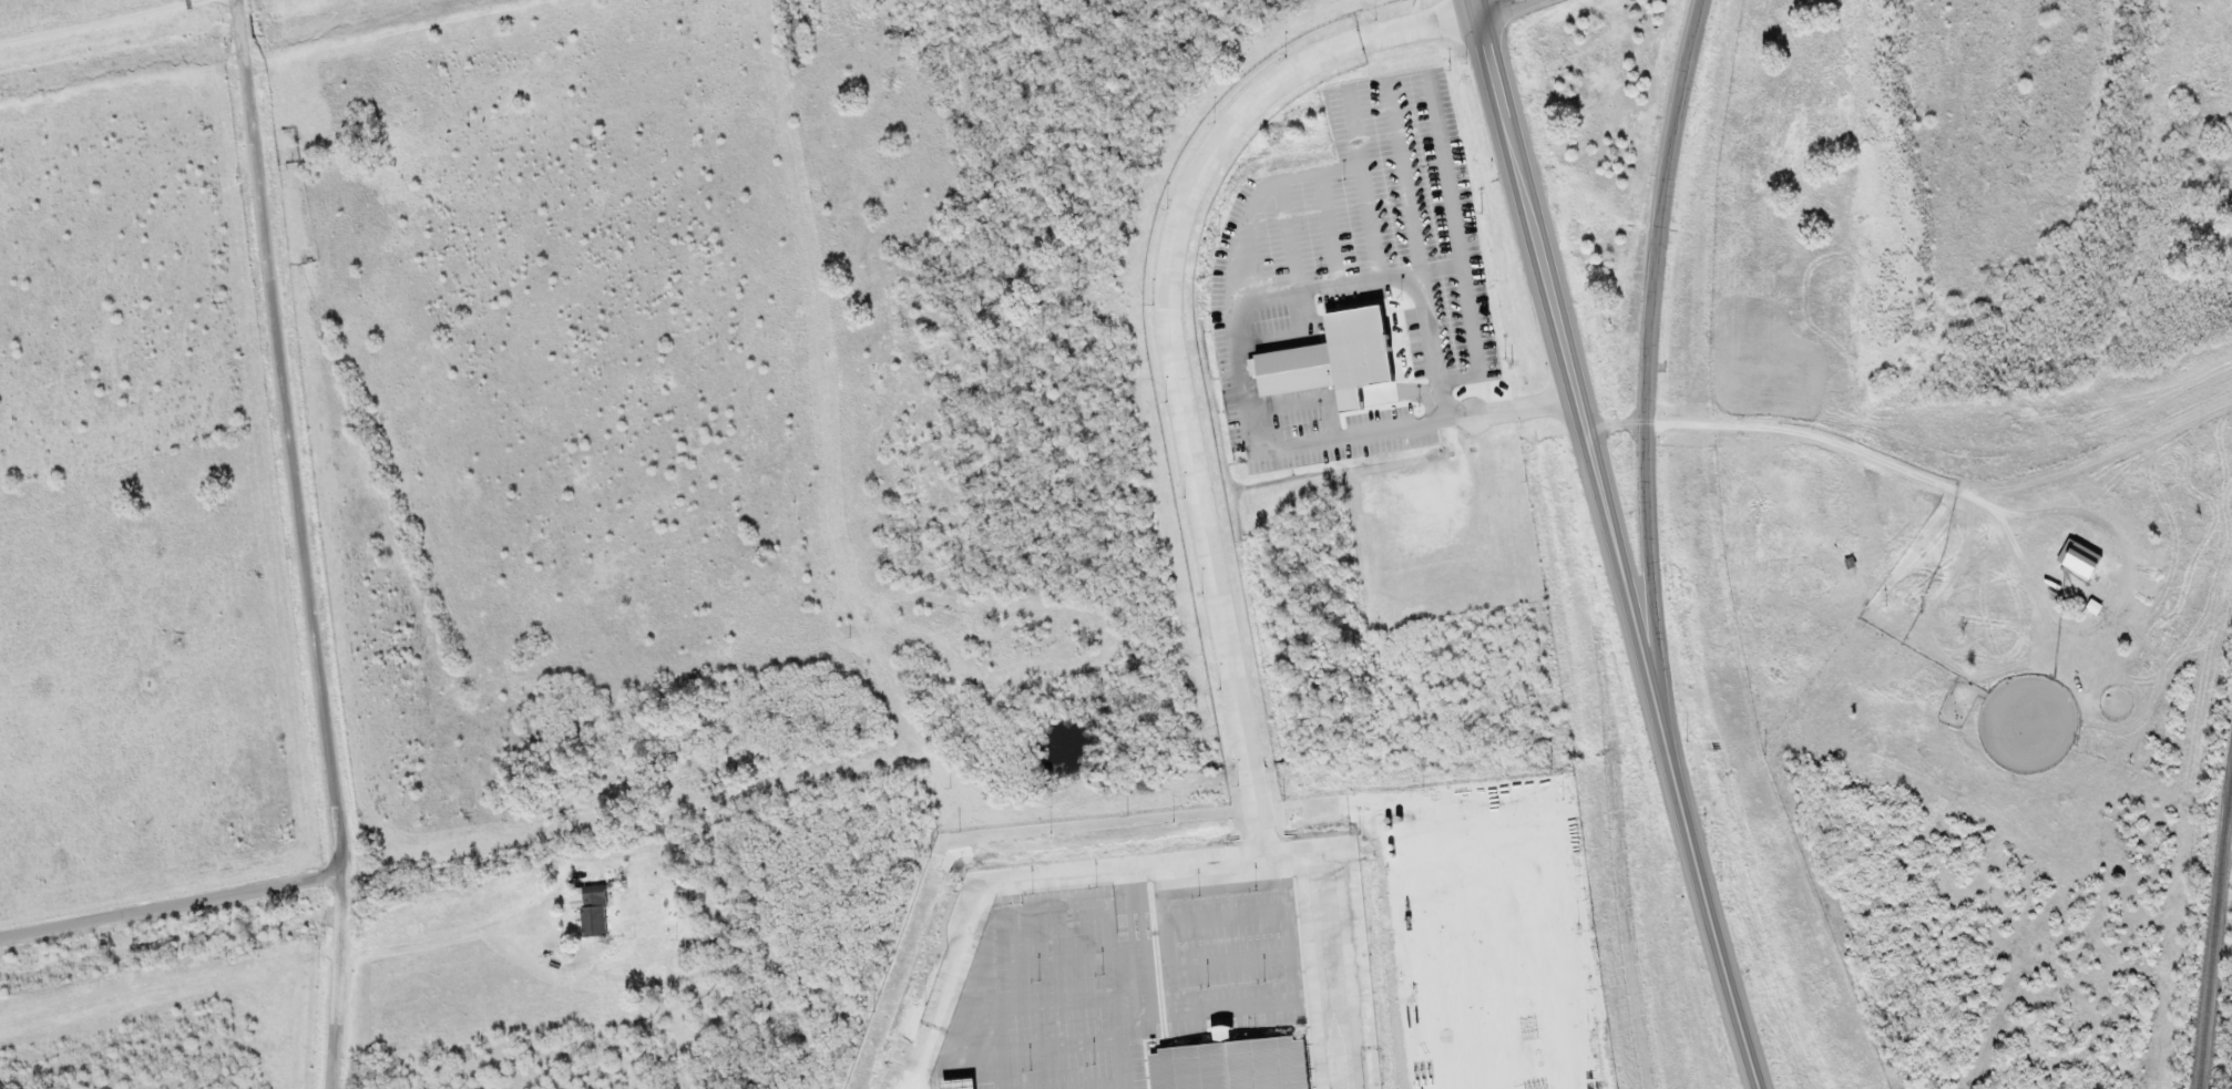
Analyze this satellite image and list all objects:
road: (1480, 11)
road: (1517, 11)
building: (1334, 360)
road: (1645, 379)
road: (1576, 393)
road: (308, 543)
building: (2083, 562)
road: (172, 903)
building: (592, 910)
railway: (2212, 924)
road: (1716, 926)
building: (1233, 1065)
building: (961, 1085)

